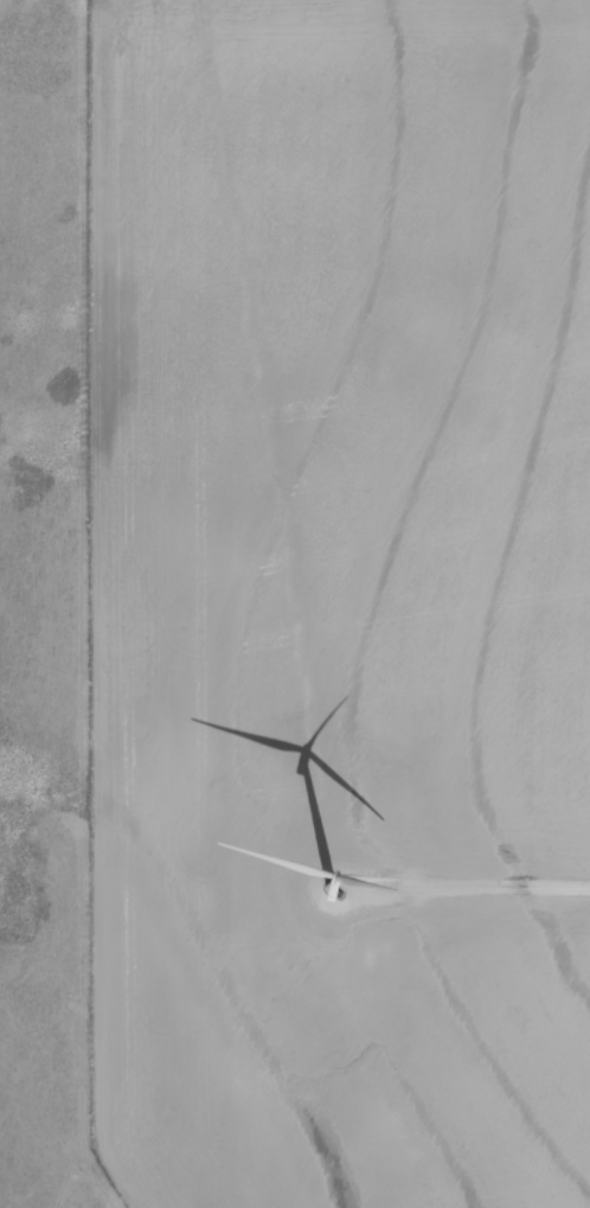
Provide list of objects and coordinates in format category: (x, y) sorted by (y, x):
wind turbine: (329, 894)

